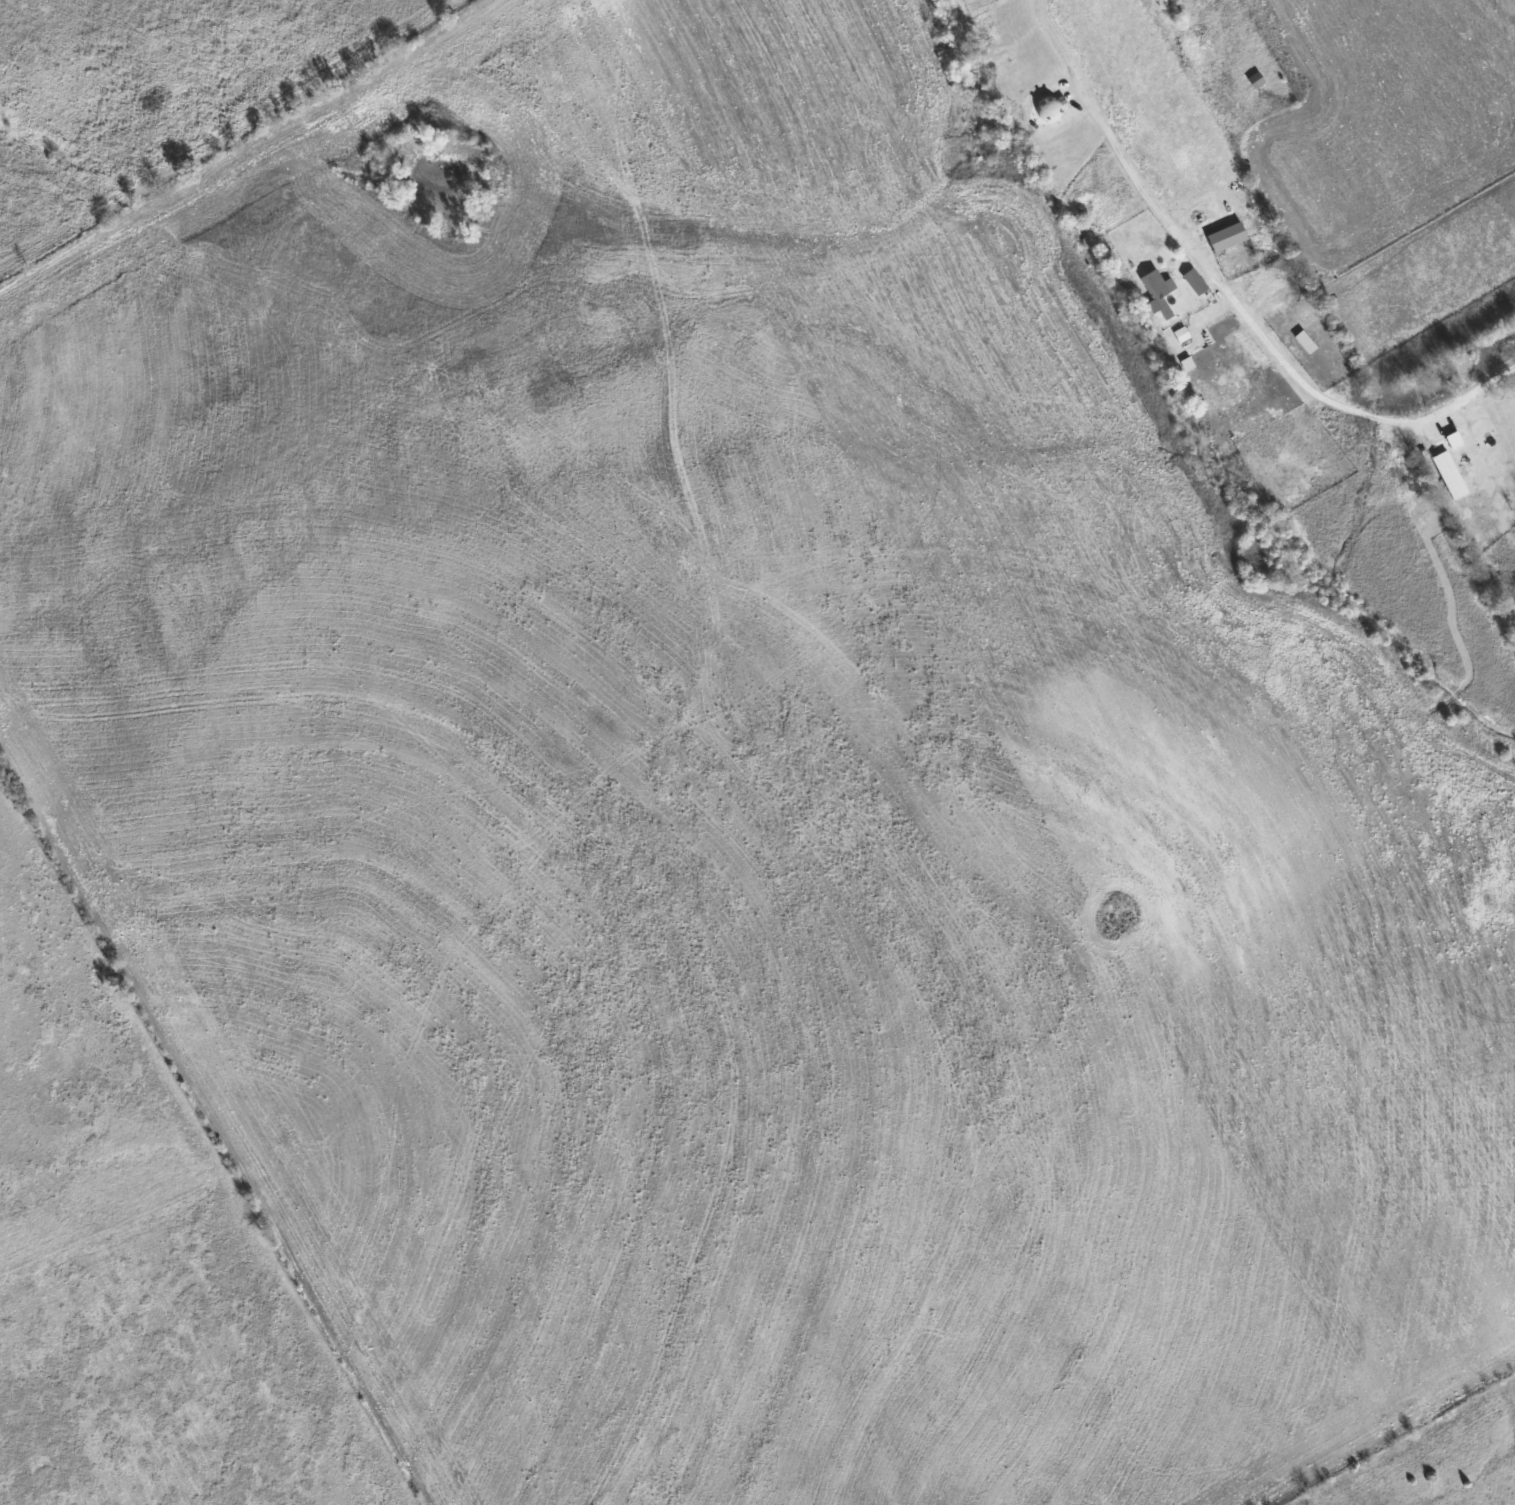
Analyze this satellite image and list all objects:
building: (1254, 77)
building: (1045, 107)
road: (1117, 135)
building: (1224, 235)
road: (1337, 400)

